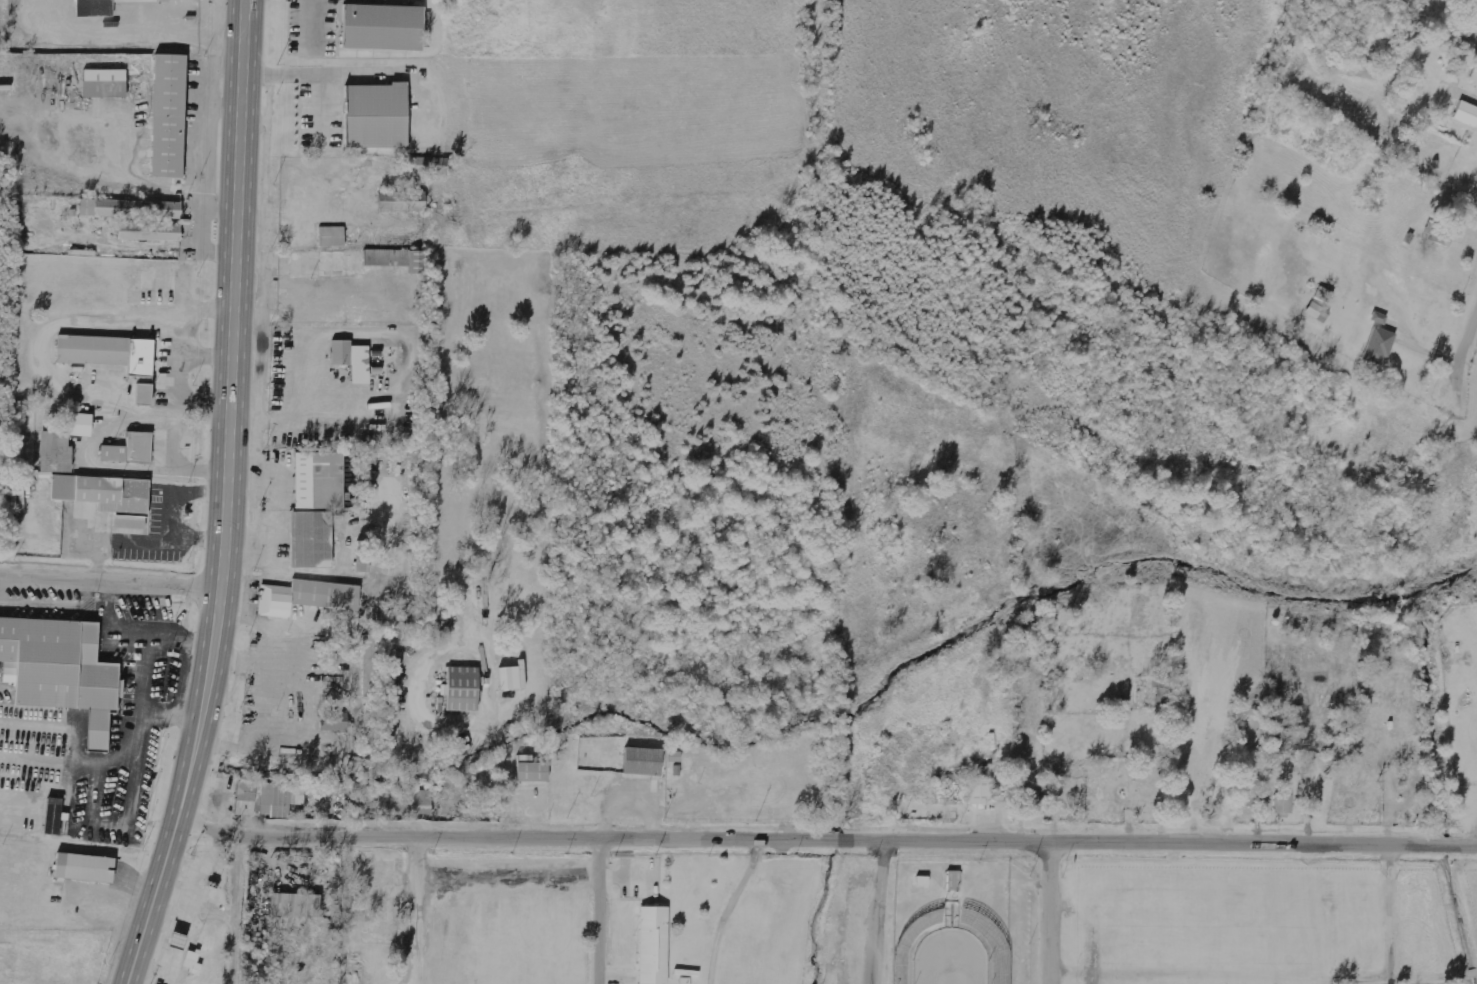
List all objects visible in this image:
building: (102, 7)
building: (381, 29)
building: (101, 75)
road: (316, 78)
building: (1466, 113)
building: (167, 117)
building: (373, 117)
building: (431, 165)
building: (402, 202)
building: (129, 210)
building: (148, 232)
building: (329, 237)
building: (393, 259)
building: (316, 263)
building: (1378, 318)
building: (1378, 346)
road: (1464, 346)
building: (112, 360)
building: (350, 360)
building: (61, 445)
building: (128, 451)
building: (326, 481)
building: (102, 495)
road: (229, 498)
building: (309, 541)
road: (111, 578)
building: (305, 598)
building: (371, 664)
building: (61, 672)
building: (512, 678)
building: (461, 690)
building: (335, 722)
building: (642, 762)
building: (531, 773)
building: (981, 789)
building: (265, 799)
building: (1034, 799)
building: (418, 802)
building: (1283, 805)
building: (54, 816)
road: (827, 832)
building: (83, 869)
building: (923, 881)
building: (953, 881)
building: (293, 905)
road: (417, 907)
road: (599, 907)
road: (239, 908)
road: (1052, 910)
park: (1040, 918)
building: (913, 943)
building: (987, 944)
building: (652, 946)
park: (949, 958)

